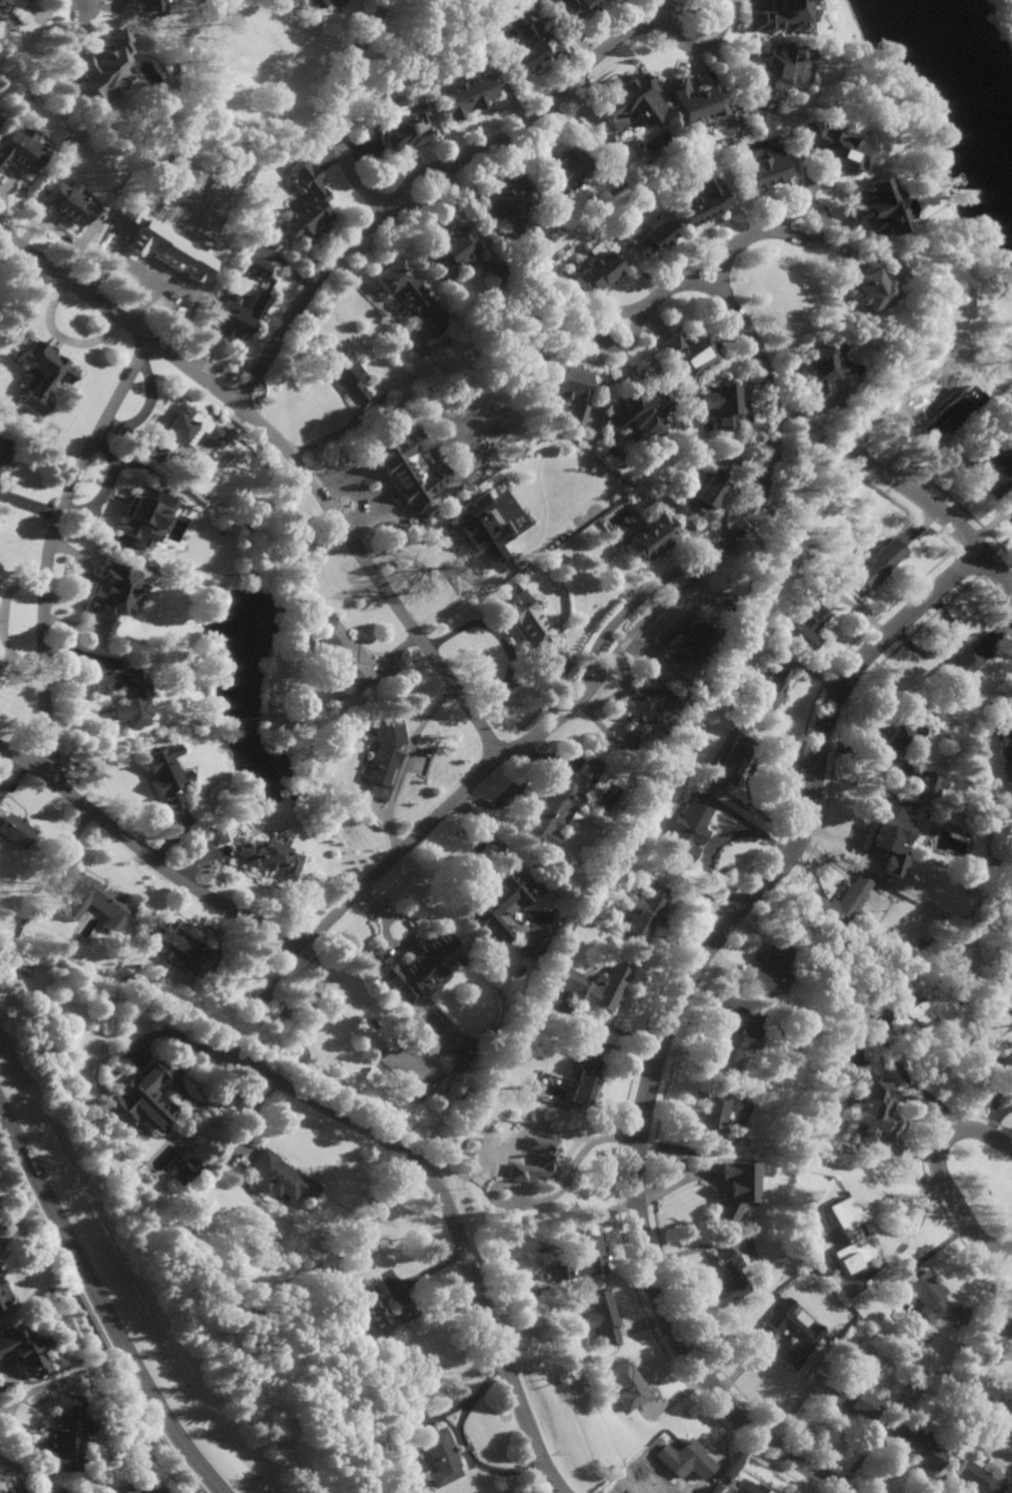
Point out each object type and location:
building: (452, 2)
building: (11, 3)
building: (313, 3)
road: (88, 5)
building: (145, 6)
building: (578, 7)
road: (661, 8)
building: (780, 15)
building: (316, 22)
building: (523, 40)
road: (702, 44)
building: (103, 66)
building: (778, 67)
building: (466, 93)
road: (561, 93)
building: (695, 100)
building: (633, 101)
road: (335, 107)
building: (403, 125)
building: (833, 145)
building: (20, 150)
building: (566, 169)
building: (758, 170)
road: (414, 175)
road: (430, 197)
building: (703, 202)
building: (305, 203)
building: (510, 203)
building: (69, 204)
building: (876, 206)
road: (824, 217)
building: (166, 229)
building: (654, 238)
building: (461, 252)
road: (704, 262)
building: (600, 271)
road: (702, 285)
building: (869, 290)
building: (256, 297)
building: (412, 297)
road: (302, 298)
road: (602, 341)
building: (694, 354)
building: (818, 371)
building: (42, 376)
building: (348, 377)
building: (573, 392)
building: (724, 408)
road: (774, 411)
building: (951, 413)
building: (645, 414)
building: (183, 429)
road: (341, 432)
road: (810, 447)
building: (4, 453)
road: (365, 454)
road: (291, 455)
building: (408, 467)
building: (997, 469)
building: (618, 484)
building: (706, 491)
power tower: (788, 491)
road: (916, 494)
building: (144, 517)
building: (480, 530)
building: (652, 533)
road: (49, 550)
building: (880, 565)
building: (112, 594)
road: (627, 611)
building: (532, 623)
road: (642, 624)
building: (806, 630)
road: (502, 639)
building: (691, 646)
building: (344, 656)
building: (962, 668)
building: (770, 690)
building: (123, 697)
building: (725, 702)
building: (646, 706)
power tower: (551, 709)
road: (546, 730)
building: (899, 739)
building: (1007, 747)
building: (385, 757)
building: (732, 758)
road: (402, 763)
building: (163, 776)
building: (927, 784)
building: (560, 807)
building: (632, 825)
building: (888, 825)
building: (14, 829)
building: (686, 832)
building: (217, 836)
road: (145, 854)
building: (270, 856)
road: (375, 875)
building: (91, 896)
building: (501, 904)
building: (844, 904)
building: (644, 913)
building: (5, 941)
building: (175, 946)
building: (530, 946)
building: (900, 951)
building: (415, 965)
building: (765, 970)
power tower: (257, 981)
building: (597, 985)
road: (683, 987)
building: (922, 1010)
building: (733, 1033)
building: (462, 1050)
building: (1005, 1071)
building: (585, 1083)
road: (921, 1091)
building: (142, 1098)
building: (870, 1107)
building: (710, 1116)
road: (995, 1118)
building: (445, 1122)
building: (537, 1161)
building: (184, 1171)
road: (939, 1175)
building: (279, 1178)
building: (735, 1190)
road: (455, 1220)
road: (913, 1228)
building: (850, 1237)
building: (581, 1260)
building: (725, 1281)
building: (5, 1297)
road: (104, 1301)
building: (935, 1302)
building: (240, 1305)
building: (383, 1313)
building: (602, 1317)
building: (1010, 1326)
building: (792, 1333)
building: (26, 1349)
building: (911, 1373)
building: (626, 1384)
building: (909, 1393)
building: (853, 1399)
building: (64, 1433)
building: (920, 1447)
building: (442, 1456)
building: (684, 1458)
building: (973, 1479)
building: (117, 1486)
building: (743, 1486)
building: (155, 1488)
building: (17, 1489)

